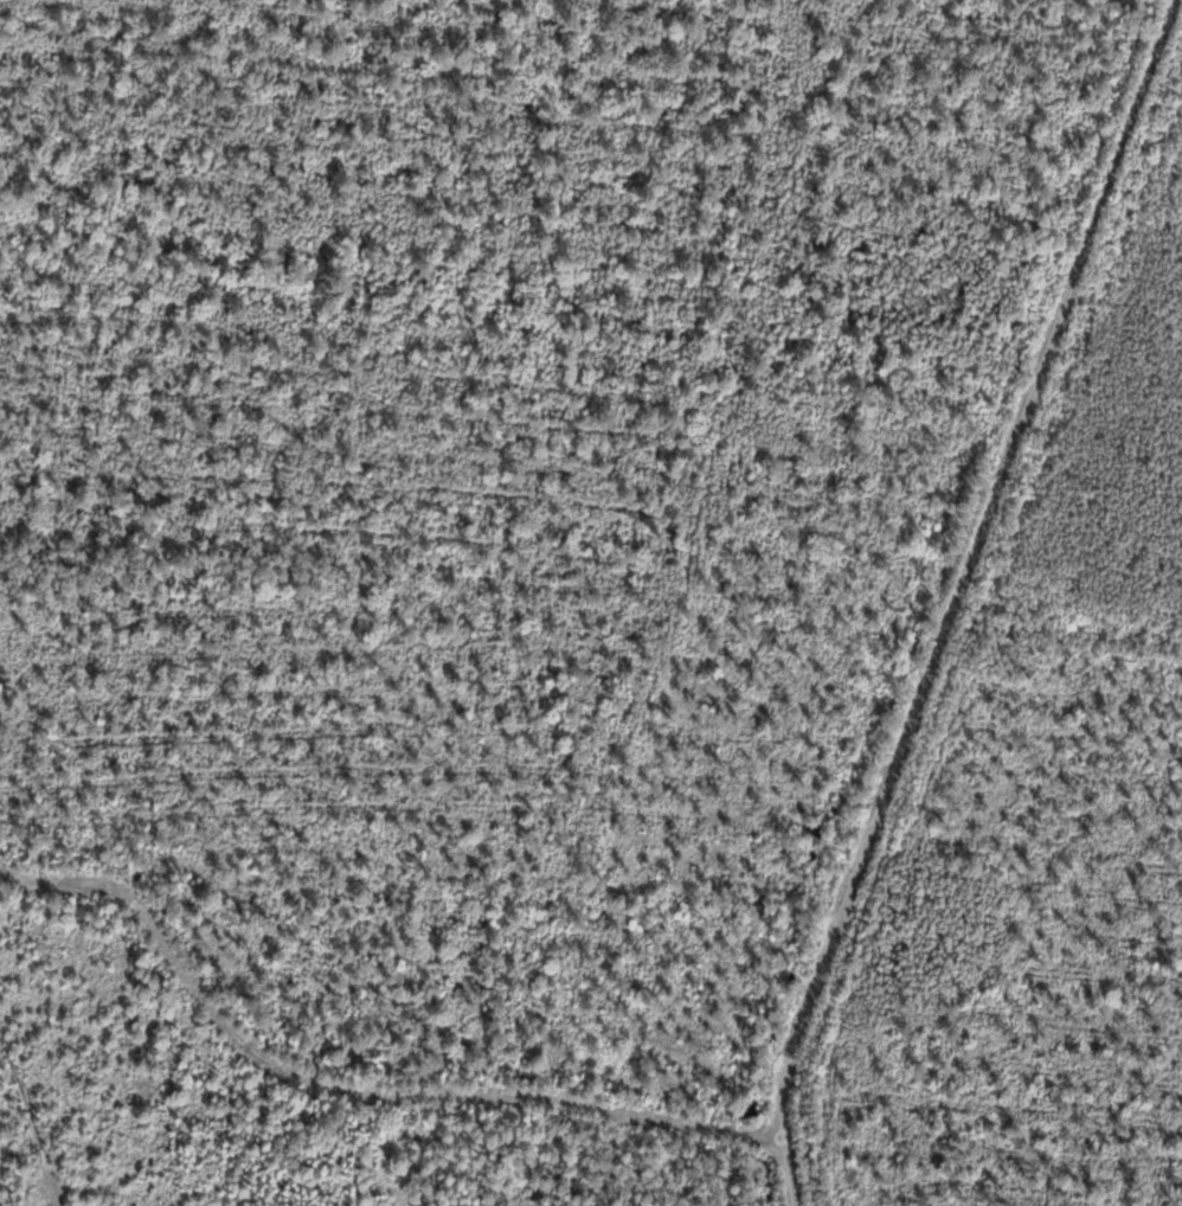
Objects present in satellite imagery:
road: (955, 604)

